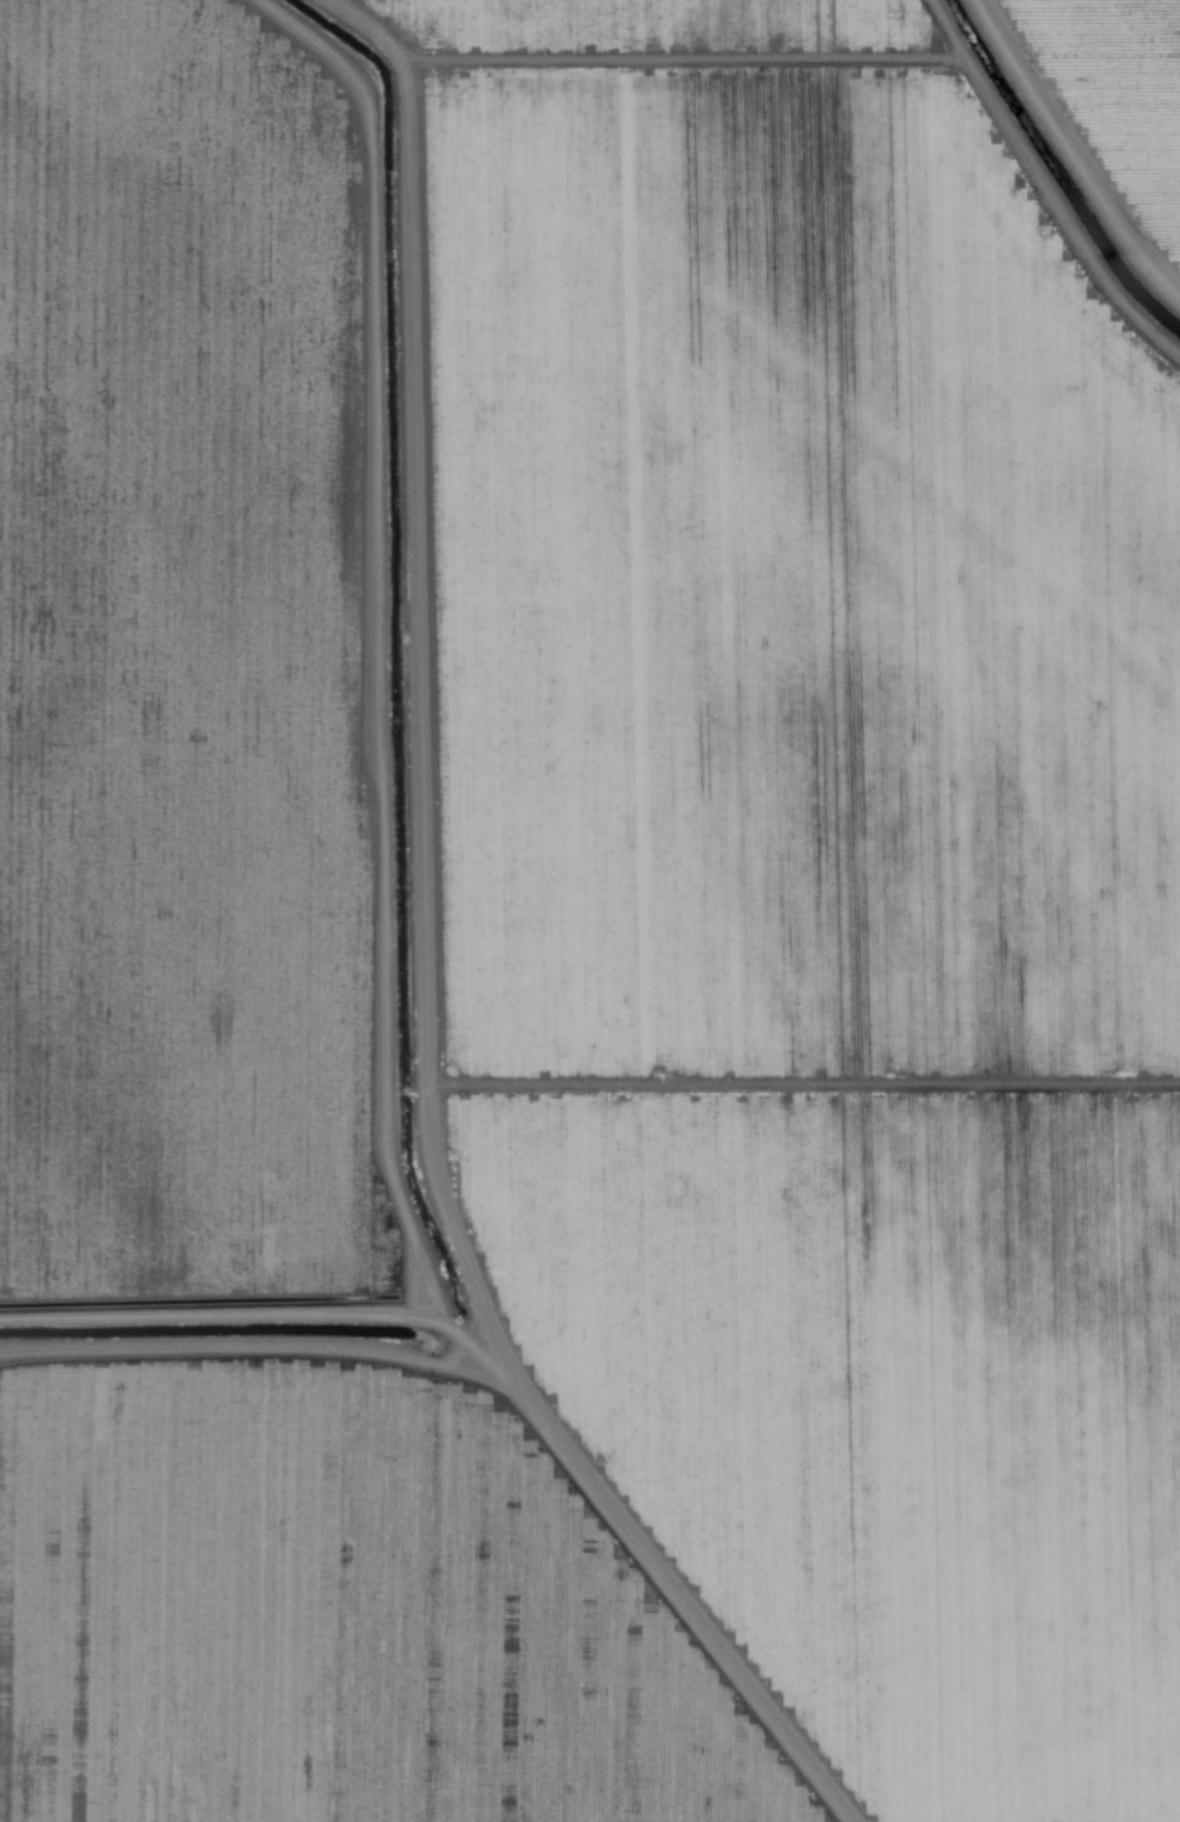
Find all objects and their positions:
crop: (1128, 77)
crop: (211, 666)
crop: (720, 1008)

